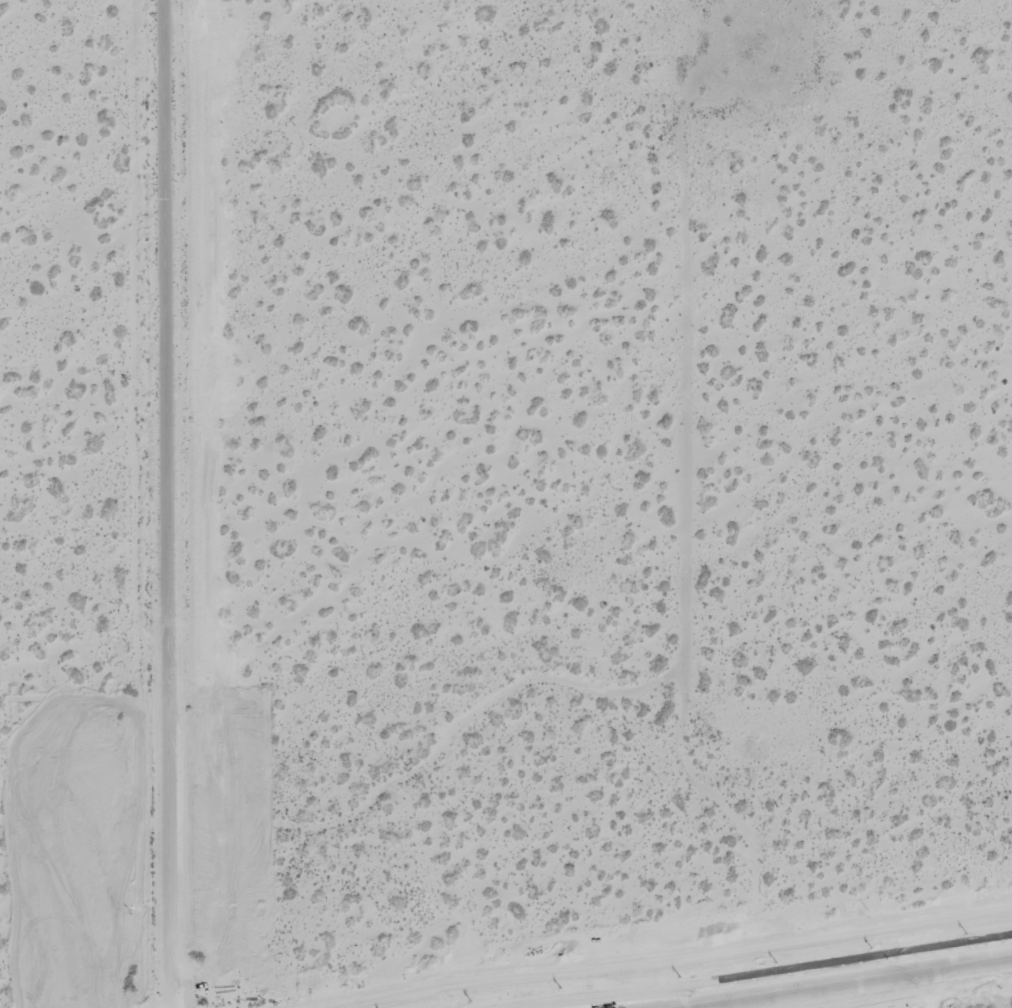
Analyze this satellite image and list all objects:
road: (163, 496)
road: (855, 983)
road: (233, 990)
road: (219, 991)

